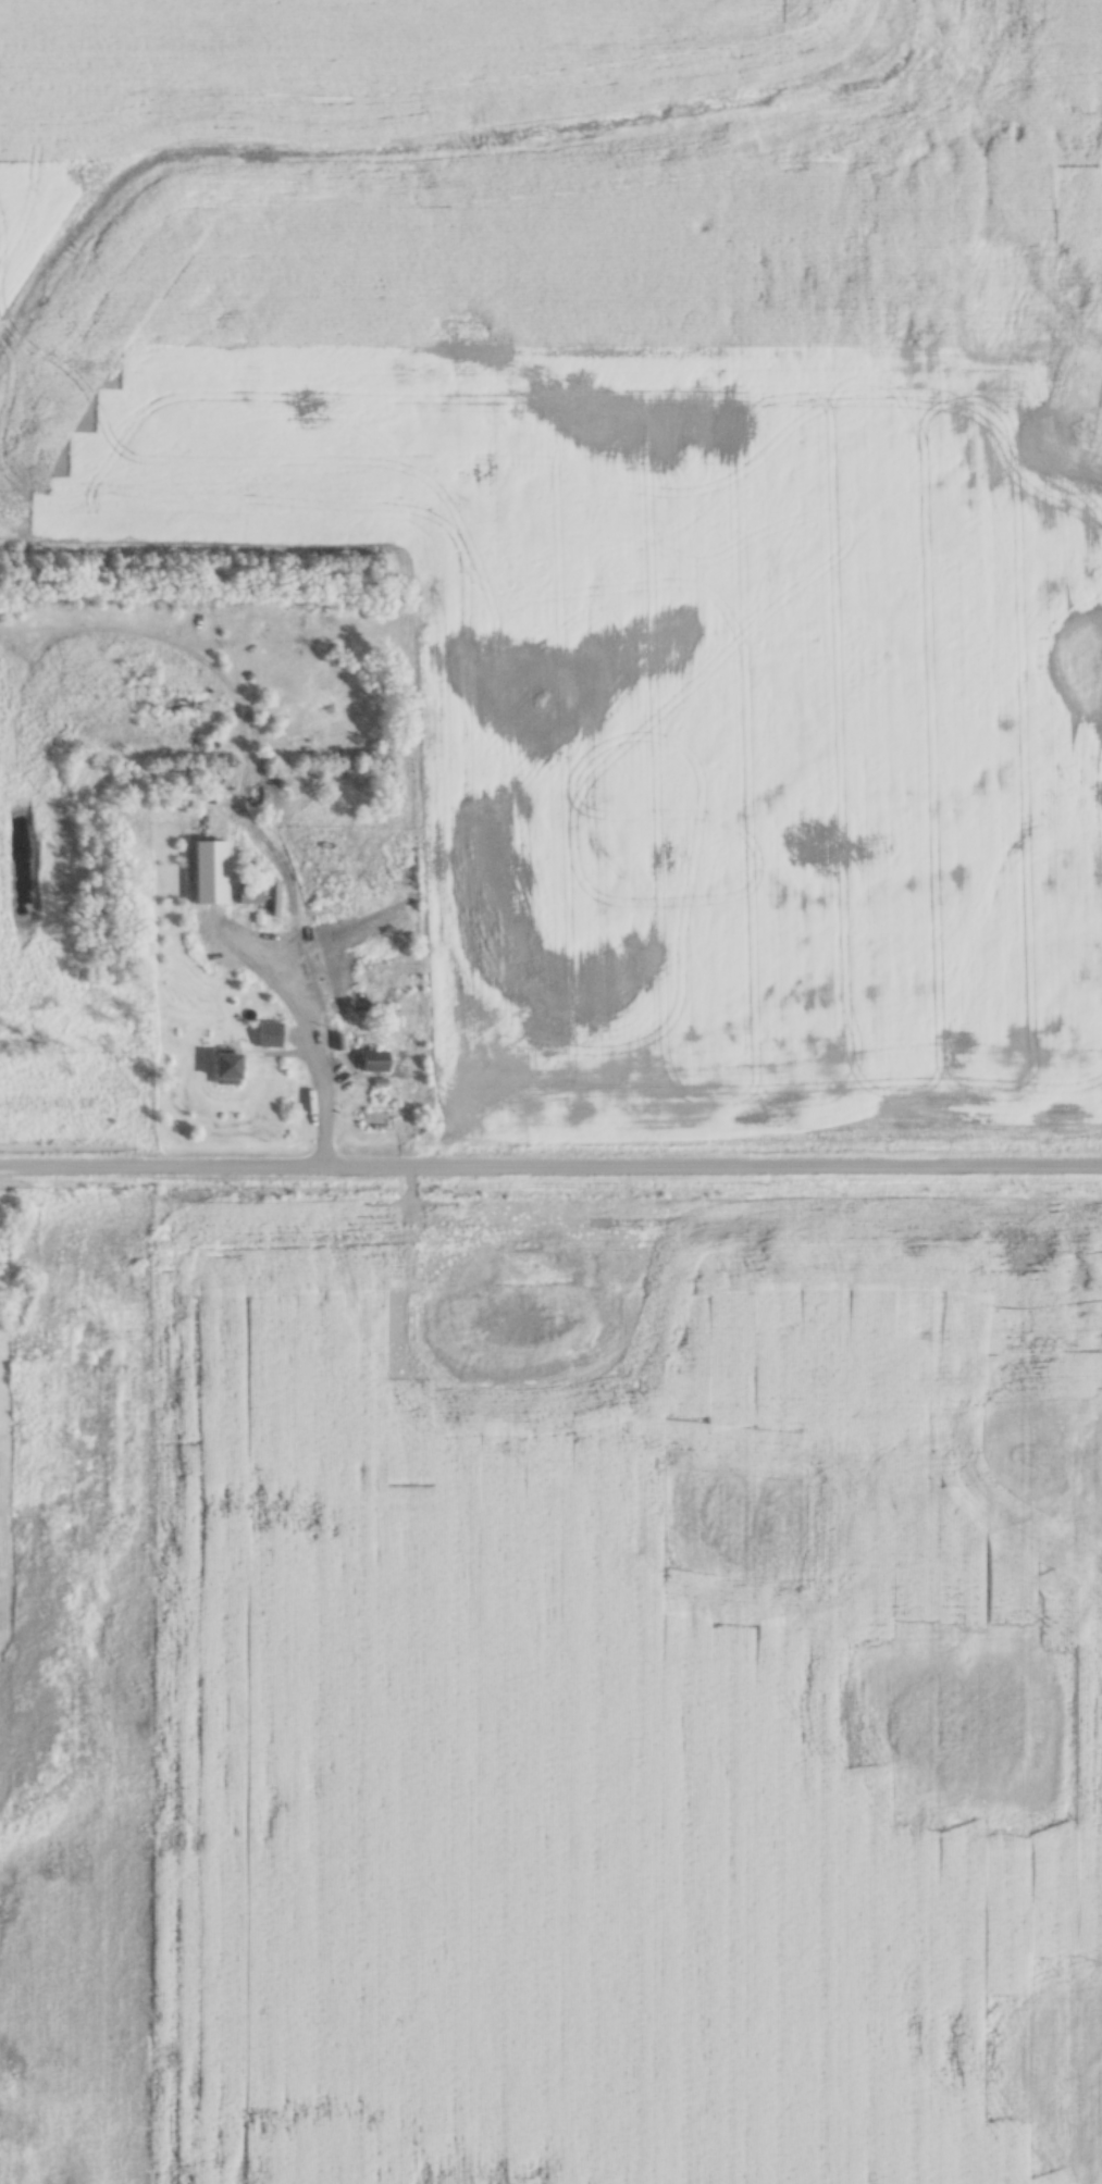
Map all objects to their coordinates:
building: (250, 893)
building: (330, 966)
building: (269, 1035)
building: (374, 1063)
building: (225, 1070)
road: (321, 1095)
building: (374, 1120)
road: (550, 1165)
building: (158, 1255)

